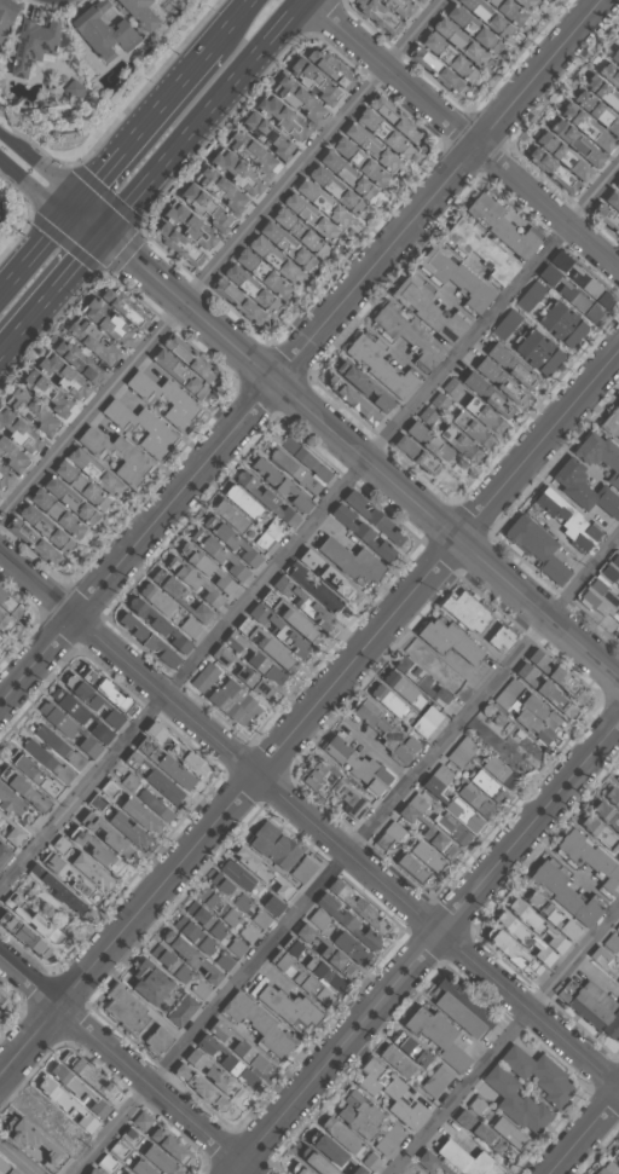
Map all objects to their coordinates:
building: (422, 0)
building: (417, 1)
building: (525, 4)
building: (403, 8)
building: (509, 12)
building: (139, 13)
building: (6, 15)
building: (376, 16)
building: (490, 18)
road: (227, 19)
building: (103, 33)
building: (480, 33)
building: (34, 45)
building: (469, 47)
building: (614, 56)
building: (456, 59)
building: (339, 69)
building: (436, 71)
building: (608, 74)
building: (313, 80)
building: (597, 86)
building: (299, 98)
building: (595, 110)
building: (617, 111)
building: (280, 115)
road: (206, 116)
building: (397, 120)
road: (140, 121)
building: (596, 129)
road: (464, 135)
building: (391, 137)
building: (277, 139)
building: (583, 141)
building: (375, 146)
building: (250, 152)
building: (555, 155)
road: (39, 164)
building: (368, 164)
building: (548, 168)
building: (235, 170)
building: (351, 175)
building: (618, 178)
building: (617, 185)
road: (31, 186)
building: (220, 189)
building: (345, 195)
building: (612, 199)
traffic signals: (69, 203)
building: (326, 203)
building: (215, 210)
building: (603, 218)
building: (187, 222)
building: (319, 222)
building: (499, 224)
traffic signals: (103, 233)
building: (306, 236)
road: (34, 243)
building: (178, 245)
building: (290, 245)
building: (479, 249)
road: (222, 260)
building: (284, 265)
building: (268, 277)
building: (455, 278)
building: (579, 279)
road: (51, 293)
building: (567, 293)
building: (260, 294)
building: (530, 295)
building: (238, 305)
building: (122, 308)
building: (427, 310)
building: (104, 322)
building: (505, 324)
building: (562, 324)
building: (406, 335)
building: (91, 343)
road: (301, 353)
building: (539, 353)
building: (192, 358)
building: (85, 363)
building: (380, 365)
building: (511, 366)
building: (168, 375)
building: (64, 376)
building: (499, 381)
building: (363, 386)
building: (453, 387)
building: (487, 394)
building: (54, 397)
building: (164, 400)
building: (441, 400)
building: (357, 404)
building: (31, 411)
building: (429, 415)
building: (611, 421)
building: (473, 428)
building: (141, 429)
building: (17, 432)
road: (343, 440)
building: (423, 444)
building: (416, 455)
building: (600, 456)
building: (10, 457)
building: (116, 457)
building: (303, 458)
building: (294, 470)
building: (4, 478)
building: (104, 478)
building: (279, 484)
building: (87, 486)
building: (584, 490)
building: (265, 499)
building: (74, 501)
building: (238, 507)
building: (372, 516)
building: (64, 517)
building: (566, 519)
building: (44, 530)
road: (309, 530)
building: (363, 533)
building: (230, 540)
building: (618, 543)
building: (34, 544)
building: (536, 548)
building: (218, 555)
building: (351, 560)
building: (204, 569)
building: (611, 571)
building: (328, 574)
building: (193, 582)
building: (312, 589)
building: (618, 591)
building: (183, 595)
building: (597, 597)
building: (11, 603)
building: (302, 603)
building: (467, 612)
building: (289, 618)
building: (6, 623)
building: (157, 625)
building: (279, 632)
building: (0, 635)
building: (0, 638)
building: (501, 640)
building: (618, 640)
building: (147, 641)
building: (447, 642)
building: (265, 644)
building: (255, 660)
building: (243, 676)
building: (204, 677)
building: (556, 678)
building: (420, 681)
building: (401, 686)
building: (103, 688)
building: (545, 690)
building: (508, 693)
building: (92, 699)
building: (389, 700)
building: (235, 704)
road: (309, 715)
building: (80, 716)
building: (492, 718)
building: (536, 719)
building: (428, 722)
building: (68, 728)
building: (386, 734)
building: (56, 744)
building: (174, 750)
building: (463, 751)
building: (45, 758)
building: (166, 765)
building: (359, 768)
building: (34, 770)
building: (501, 770)
building: (617, 777)
building: (152, 779)
building: (439, 779)
building: (131, 782)
building: (488, 785)
building: (24, 787)
building: (331, 787)
building: (105, 794)
building: (612, 798)
building: (476, 799)
building: (155, 804)
building: (18, 806)
building: (131, 806)
building: (465, 812)
building: (607, 816)
road: (308, 821)
building: (118, 822)
building: (453, 827)
building: (11, 829)
building: (389, 835)
building: (429, 835)
building: (601, 835)
building: (109, 839)
building: (276, 844)
building: (5, 854)
building: (98, 855)
road: (346, 855)
building: (427, 857)
building: (590, 860)
building: (82, 864)
building: (305, 868)
building: (412, 868)
building: (238, 873)
building: (261, 873)
building: (71, 879)
building: (57, 891)
building: (231, 891)
building: (563, 895)
building: (213, 900)
building: (274, 904)
building: (359, 909)
building: (550, 915)
building: (232, 916)
building: (262, 918)
building: (319, 918)
building: (33, 919)
building: (208, 919)
building: (346, 923)
building: (537, 926)
building: (24, 935)
building: (526, 941)
building: (208, 944)
building: (238, 945)
building: (322, 945)
building: (353, 947)
road: (424, 949)
building: (514, 952)
building: (602, 955)
building: (190, 958)
building: (173, 962)
building: (313, 965)
building: (351, 970)
building: (300, 978)
building: (152, 982)
building: (202, 988)
building: (1, 999)
building: (280, 1000)
building: (462, 1006)
building: (125, 1008)
building: (591, 1008)
building: (184, 1010)
building: (258, 1025)
building: (436, 1037)
building: (160, 1040)
road: (505, 1043)
building: (239, 1048)
building: (409, 1049)
building: (226, 1062)
building: (397, 1062)
road: (127, 1064)
building: (210, 1075)
building: (537, 1075)
building: (91, 1078)
building: (436, 1080)
building: (199, 1089)
building: (79, 1092)
building: (389, 1094)
building: (516, 1103)
building: (68, 1104)
building: (478, 1104)
building: (358, 1116)
building: (144, 1120)
building: (510, 1132)
building: (342, 1133)
road: (585, 1134)
building: (133, 1135)
building: (482, 1137)
building: (389, 1140)
building: (37, 1145)
building: (618, 1145)
building: (173, 1146)
building: (121, 1149)
building: (332, 1153)
road: (18, 1157)
building: (617, 1158)
building: (163, 1159)
building: (428, 1159)
building: (372, 1161)
building: (467, 1161)
building: (313, 1162)
building: (109, 1163)
building: (2, 1166)
building: (144, 1167)
building: (295, 1169)
building: (608, 1169)
building: (93, 1172)
building: (128, 1173)

